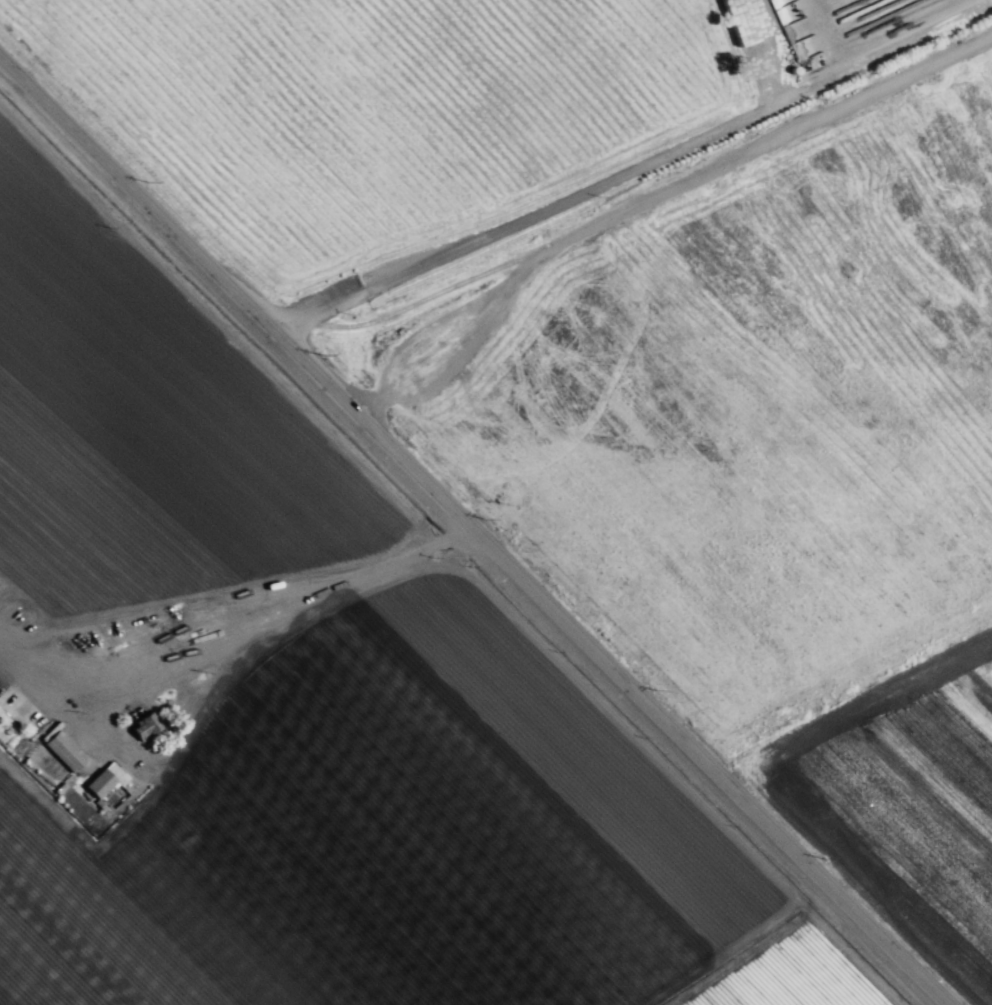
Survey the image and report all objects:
building: (756, 43)
building: (799, 49)
road: (526, 229)
crop: (626, 284)
road: (469, 542)
road: (243, 603)
crop: (299, 702)
building: (146, 727)
building: (65, 751)
building: (104, 781)
crop: (902, 791)

